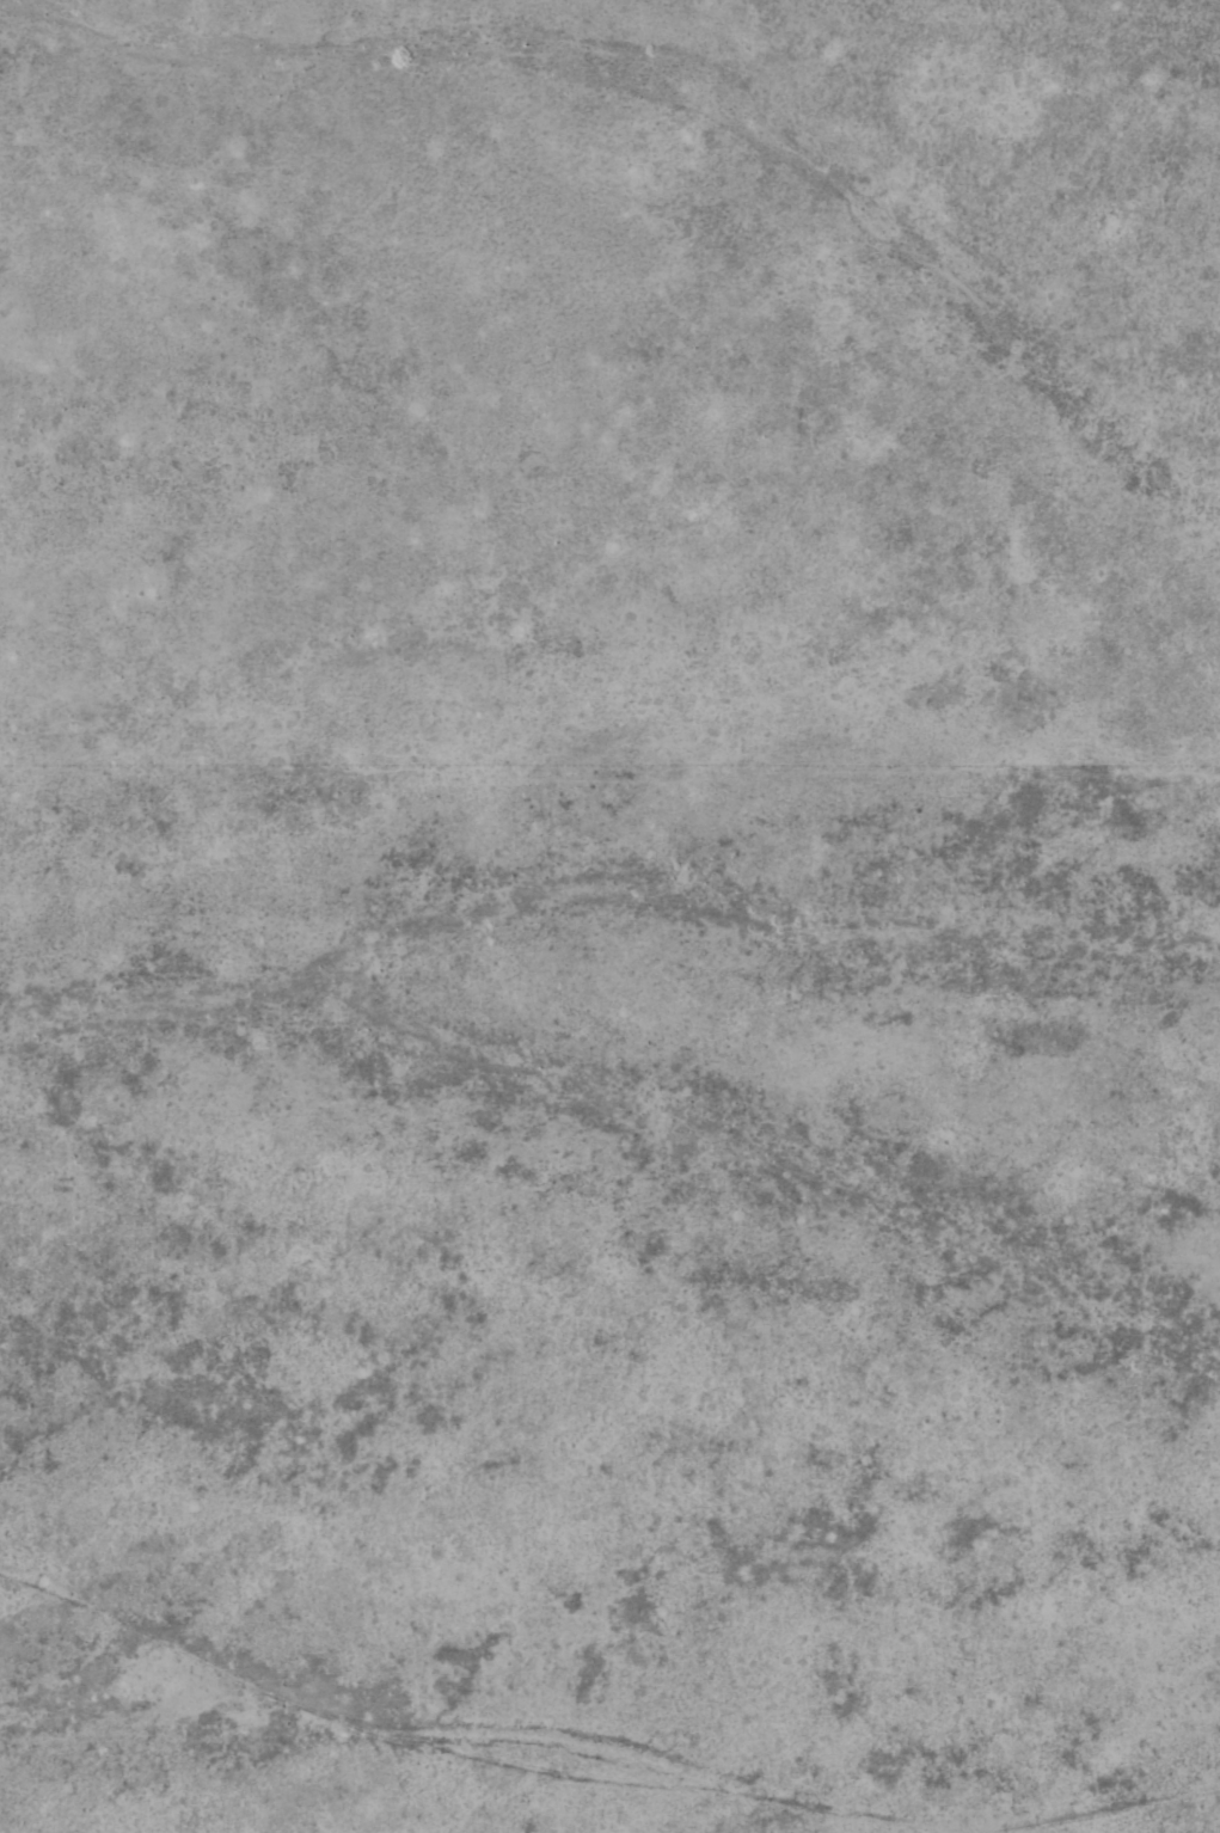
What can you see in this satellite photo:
road: (298, 1672)
road: (919, 1727)

